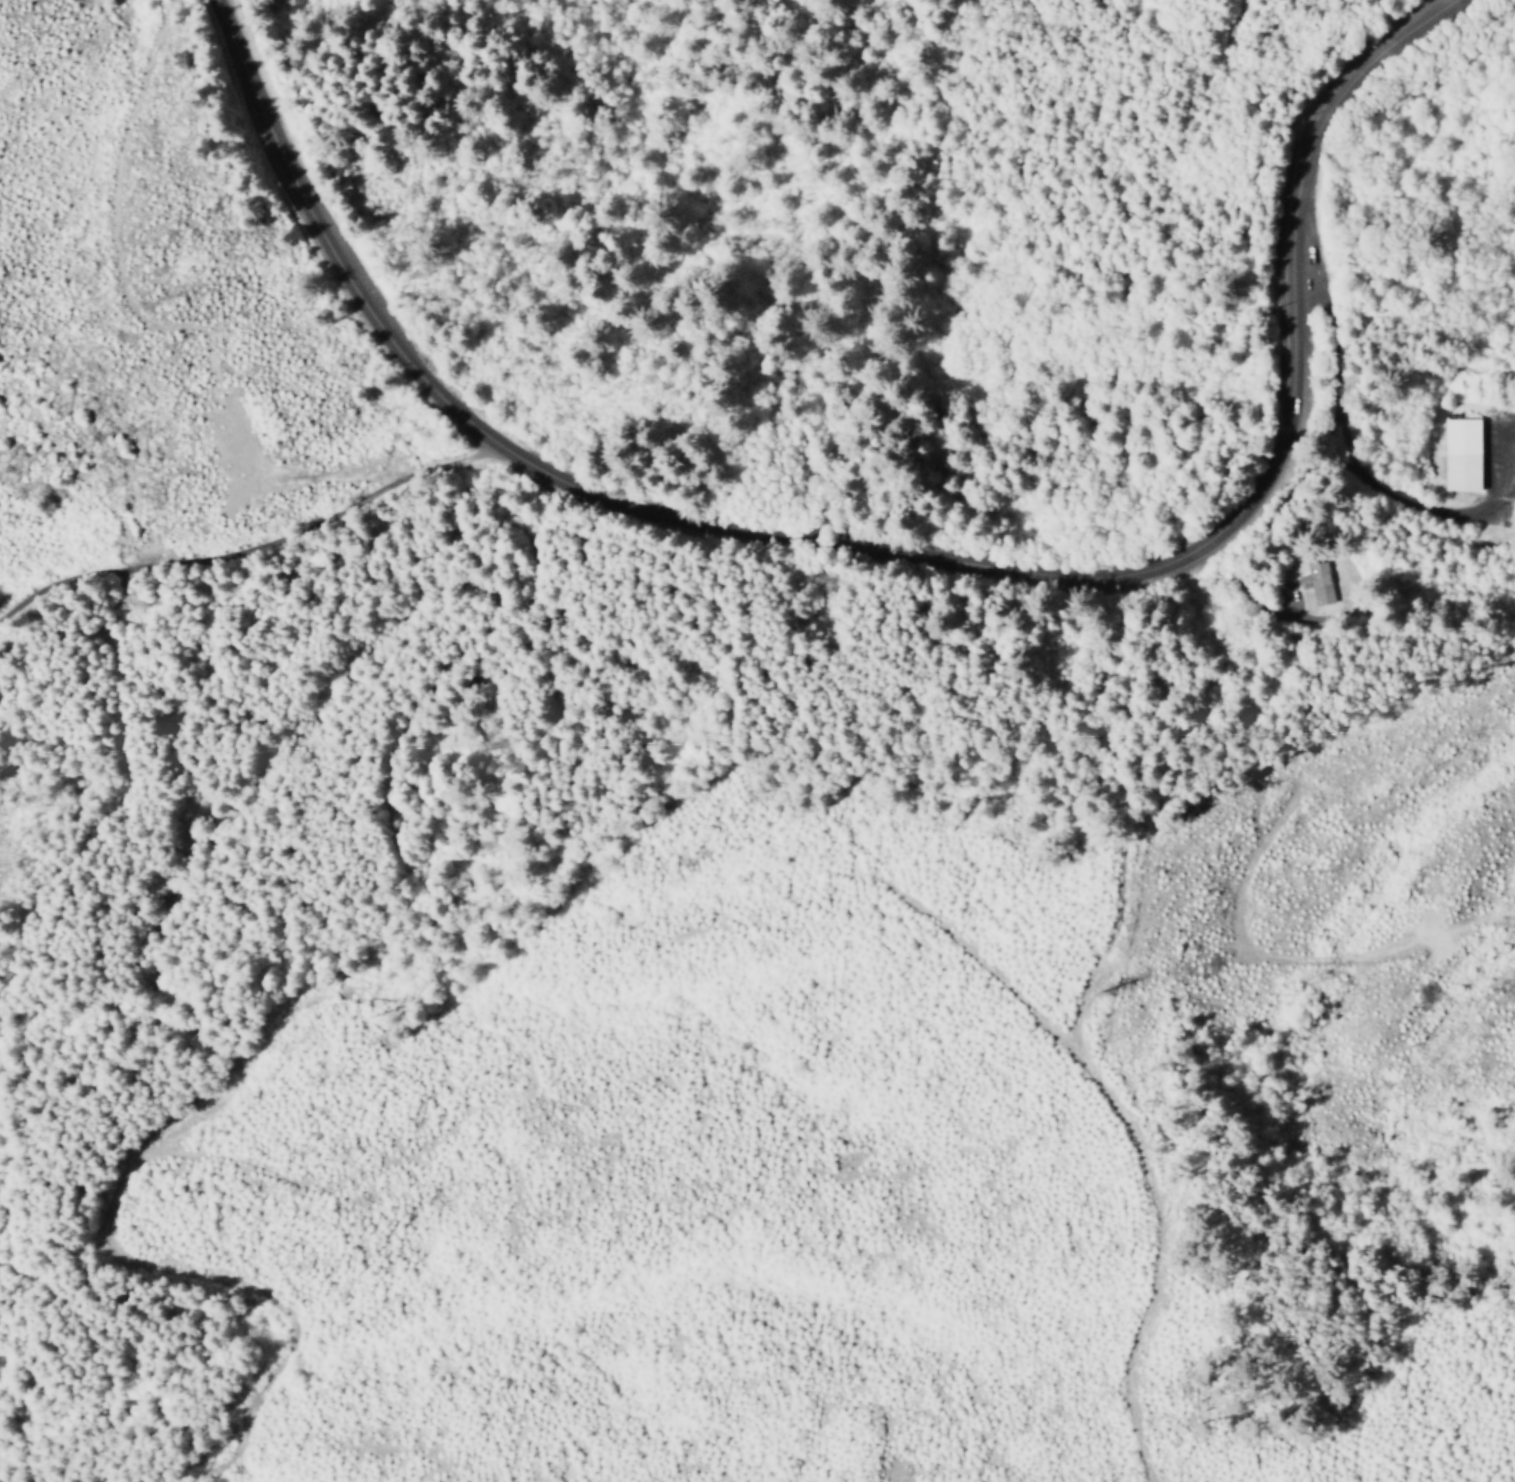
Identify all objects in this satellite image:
building: (1463, 453)
road: (246, 549)
road: (893, 559)
building: (1318, 581)
road: (1159, 1252)

